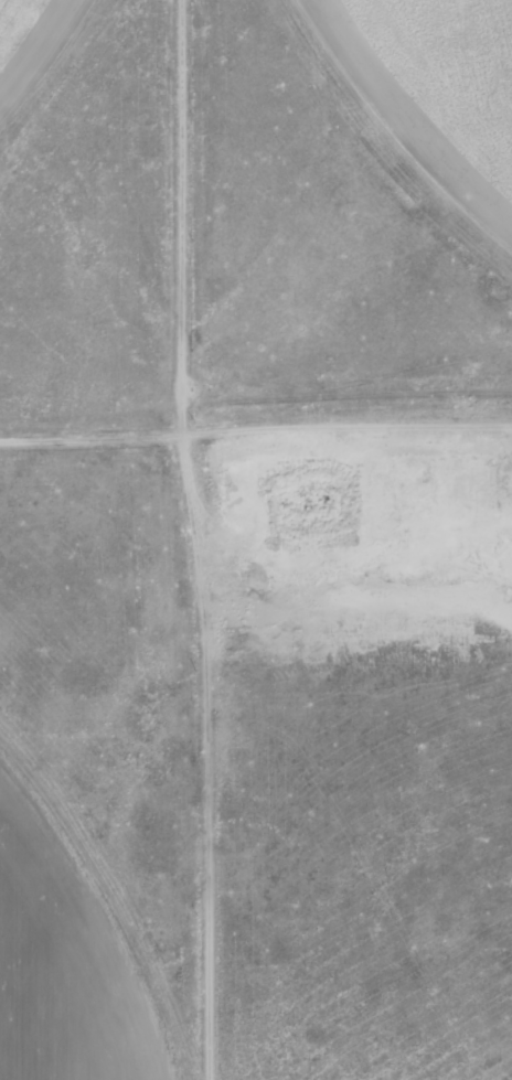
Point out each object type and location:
road: (256, 360)
road: (209, 517)

